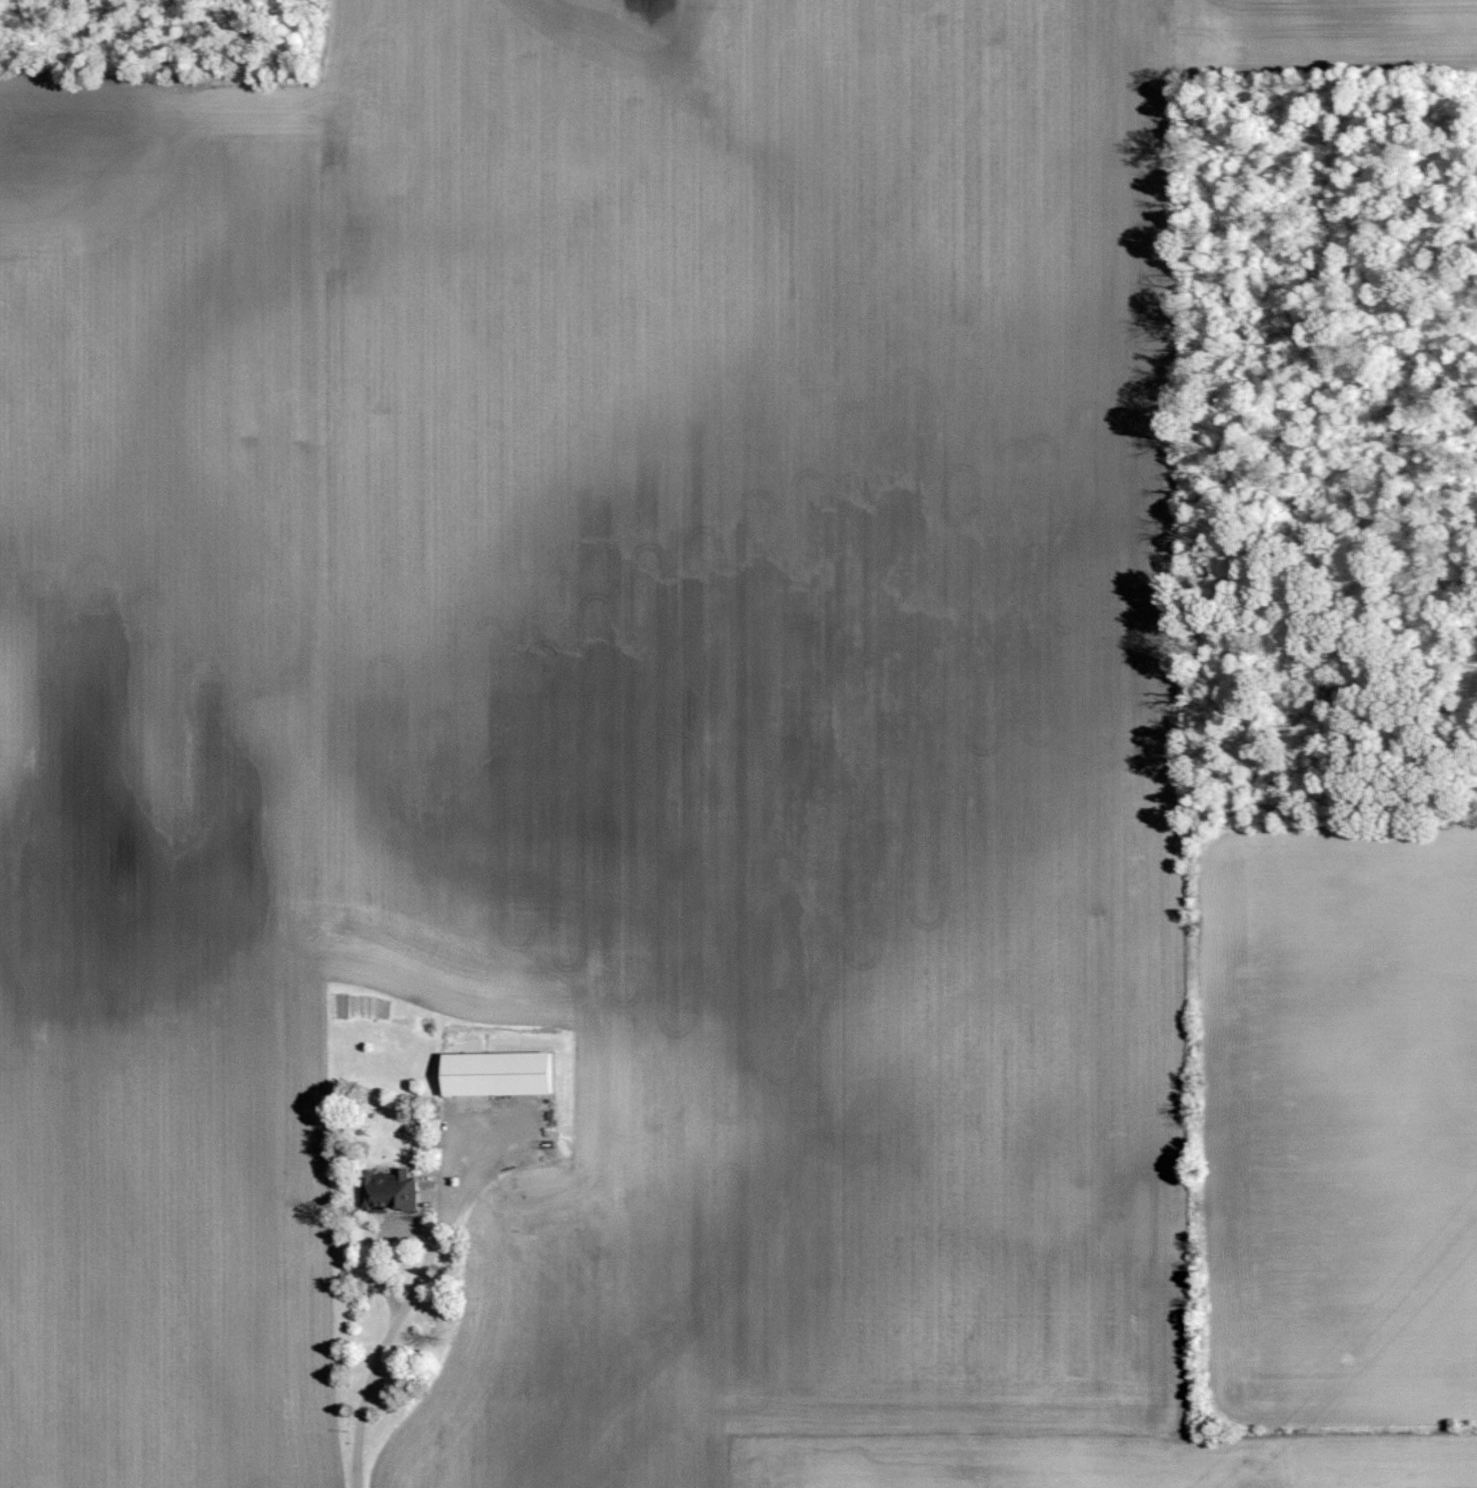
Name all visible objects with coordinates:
building: (494, 1074)
building: (387, 1192)
road: (378, 1244)
road: (402, 1310)

